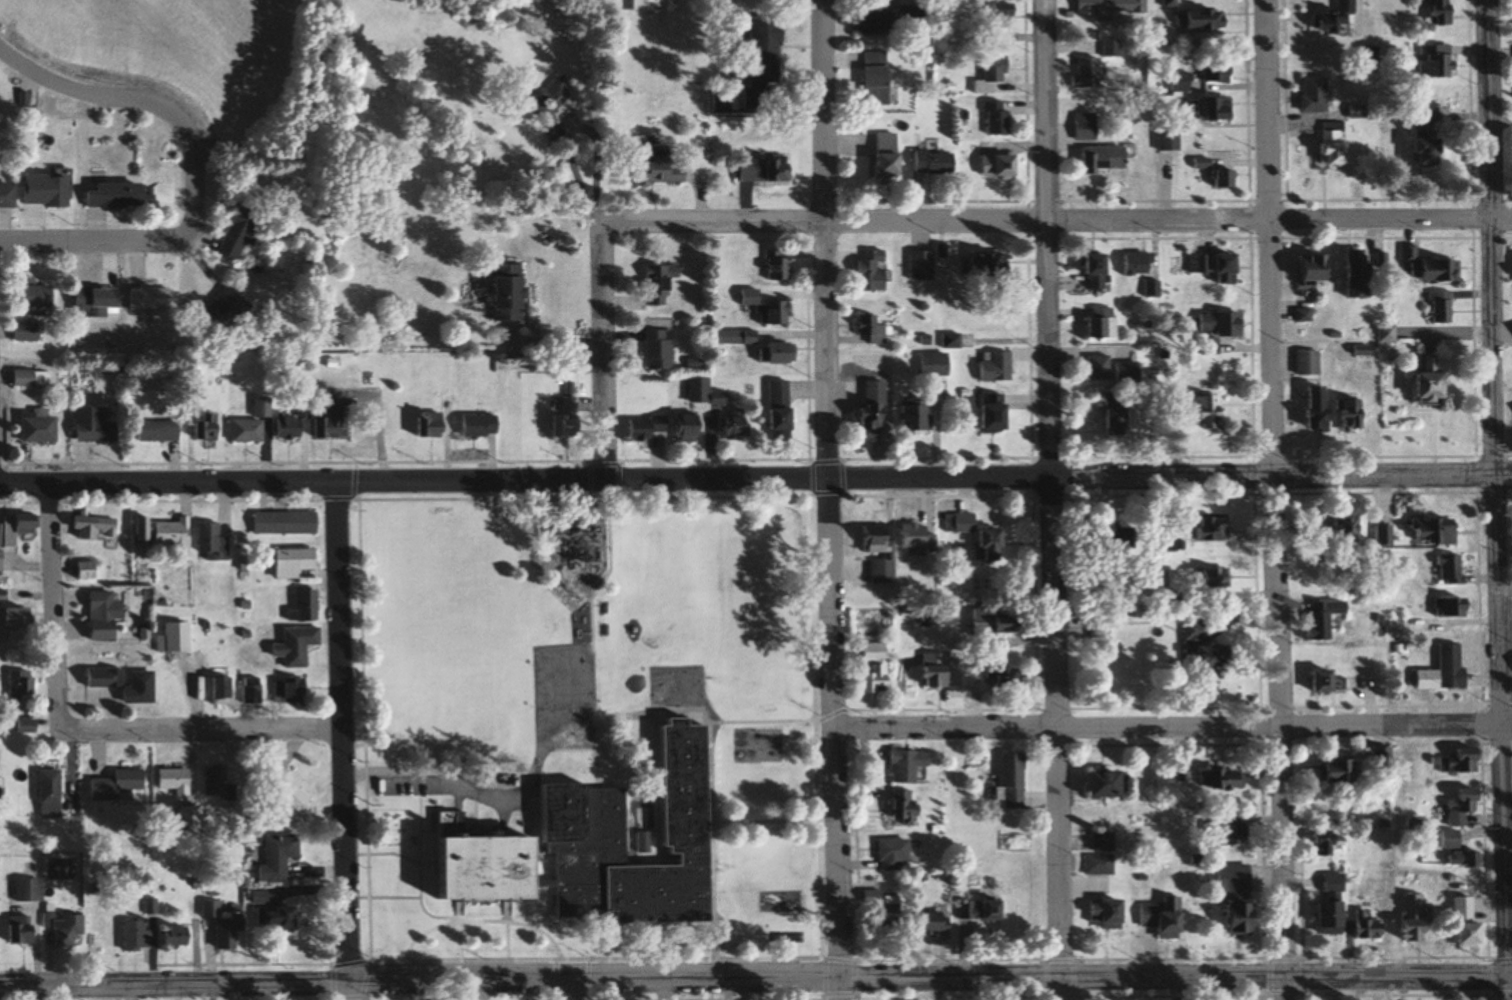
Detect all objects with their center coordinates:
building: (1110, 6)
building: (1429, 10)
building: (1511, 10)
building: (1327, 18)
building: (892, 20)
building: (1202, 22)
building: (1002, 24)
building: (1112, 48)
building: (768, 53)
building: (1427, 61)
road: (754, 66)
building: (1511, 72)
building: (1089, 73)
building: (993, 75)
building: (1218, 76)
building: (879, 78)
building: (1181, 82)
building: (1306, 94)
building: (1212, 109)
building: (1417, 113)
building: (998, 119)
building: (1087, 127)
building: (1169, 140)
building: (1325, 144)
building: (1414, 148)
building: (890, 156)
building: (1105, 160)
building: (936, 163)
building: (1002, 166)
building: (767, 170)
building: (662, 172)
road: (194, 173)
building: (1209, 174)
building: (50, 192)
building: (126, 196)
building: (9, 197)
road: (1059, 222)
building: (241, 236)
building: (993, 264)
building: (1138, 264)
building: (779, 265)
building: (923, 265)
building: (1207, 267)
building: (1301, 267)
building: (1421, 267)
building: (875, 270)
building: (1099, 270)
building: (1511, 270)
building: (1347, 273)
building: (663, 283)
building: (1151, 288)
building: (511, 292)
building: (36, 298)
building: (152, 298)
building: (100, 302)
building: (1434, 306)
building: (229, 309)
building: (771, 309)
building: (1105, 322)
building: (1221, 323)
building: (872, 328)
building: (28, 331)
building: (952, 341)
building: (661, 349)
road: (605, 352)
building: (785, 352)
building: (936, 364)
building: (997, 366)
building: (1101, 367)
building: (1130, 371)
building: (32, 378)
building: (1418, 379)
building: (703, 391)
building: (1320, 408)
building: (876, 409)
building: (782, 412)
building: (1211, 412)
building: (997, 416)
building: (1352, 416)
building: (569, 417)
building: (918, 417)
building: (1119, 419)
building: (95, 423)
building: (254, 423)
building: (293, 423)
building: (436, 424)
building: (737, 424)
building: (331, 425)
building: (483, 425)
building: (40, 426)
building: (649, 426)
building: (694, 427)
building: (209, 428)
building: (163, 431)
road: (755, 477)
road: (825, 486)
road: (1049, 486)
road: (1270, 489)
road: (1484, 489)
building: (287, 522)
building: (1345, 526)
building: (19, 527)
building: (88, 527)
building: (1218, 528)
building: (1428, 530)
building: (175, 534)
building: (917, 534)
building: (981, 535)
building: (1382, 535)
building: (1119, 538)
building: (213, 542)
building: (297, 562)
building: (1441, 569)
building: (88, 570)
building: (1218, 577)
road: (55, 606)
building: (306, 606)
building: (1443, 607)
building: (104, 615)
building: (18, 617)
building: (1324, 619)
building: (1101, 622)
building: (999, 623)
building: (1198, 631)
road: (592, 633)
building: (177, 636)
building: (298, 645)
building: (1217, 653)
building: (878, 667)
building: (1447, 670)
building: (941, 671)
building: (999, 677)
building: (1328, 680)
building: (22, 684)
building: (122, 685)
building: (222, 686)
building: (252, 689)
building: (290, 690)
road: (704, 711)
building: (28, 725)
road: (1172, 727)
road: (341, 730)
road: (202, 732)
building: (1462, 762)
building: (912, 765)
building: (1346, 772)
road: (437, 777)
building: (175, 780)
building: (1015, 780)
building: (1223, 780)
building: (216, 783)
building: (1112, 784)
building: (117, 785)
parking lot: (411, 786)
building: (286, 787)
building: (51, 792)
building: (1465, 806)
building: (908, 808)
building: (188, 816)
road: (768, 821)
building: (1228, 835)
building: (1452, 839)
building: (1331, 841)
building: (1105, 842)
building: (613, 845)
building: (896, 854)
building: (280, 857)
building: (1101, 864)
road: (420, 879)
building: (29, 890)
building: (1239, 895)
road: (394, 898)
building: (1336, 903)
building: (1465, 908)
building: (888, 910)
building: (984, 910)
building: (1110, 913)
building: (284, 916)
building: (1166, 916)
building: (1417, 917)
road: (482, 921)
building: (937, 922)
building: (225, 926)
building: (1371, 926)
building: (66, 928)
building: (22, 929)
road: (458, 932)
road: (507, 932)
building: (138, 934)
building: (1473, 934)
building: (178, 936)
road: (600, 942)
road: (717, 944)
road: (375, 960)
road: (756, 974)
road: (840, 986)
road: (1060, 986)
road: (566, 988)
road: (1286, 989)
road: (1500, 989)
road: (350, 990)

